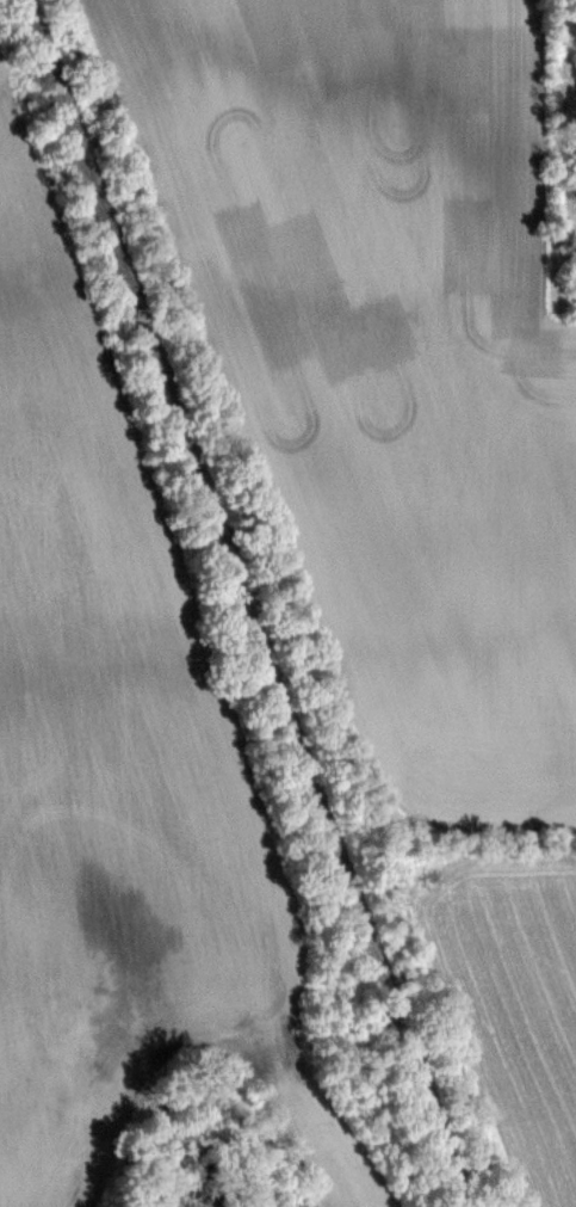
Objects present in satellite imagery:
railway: (265, 603)

